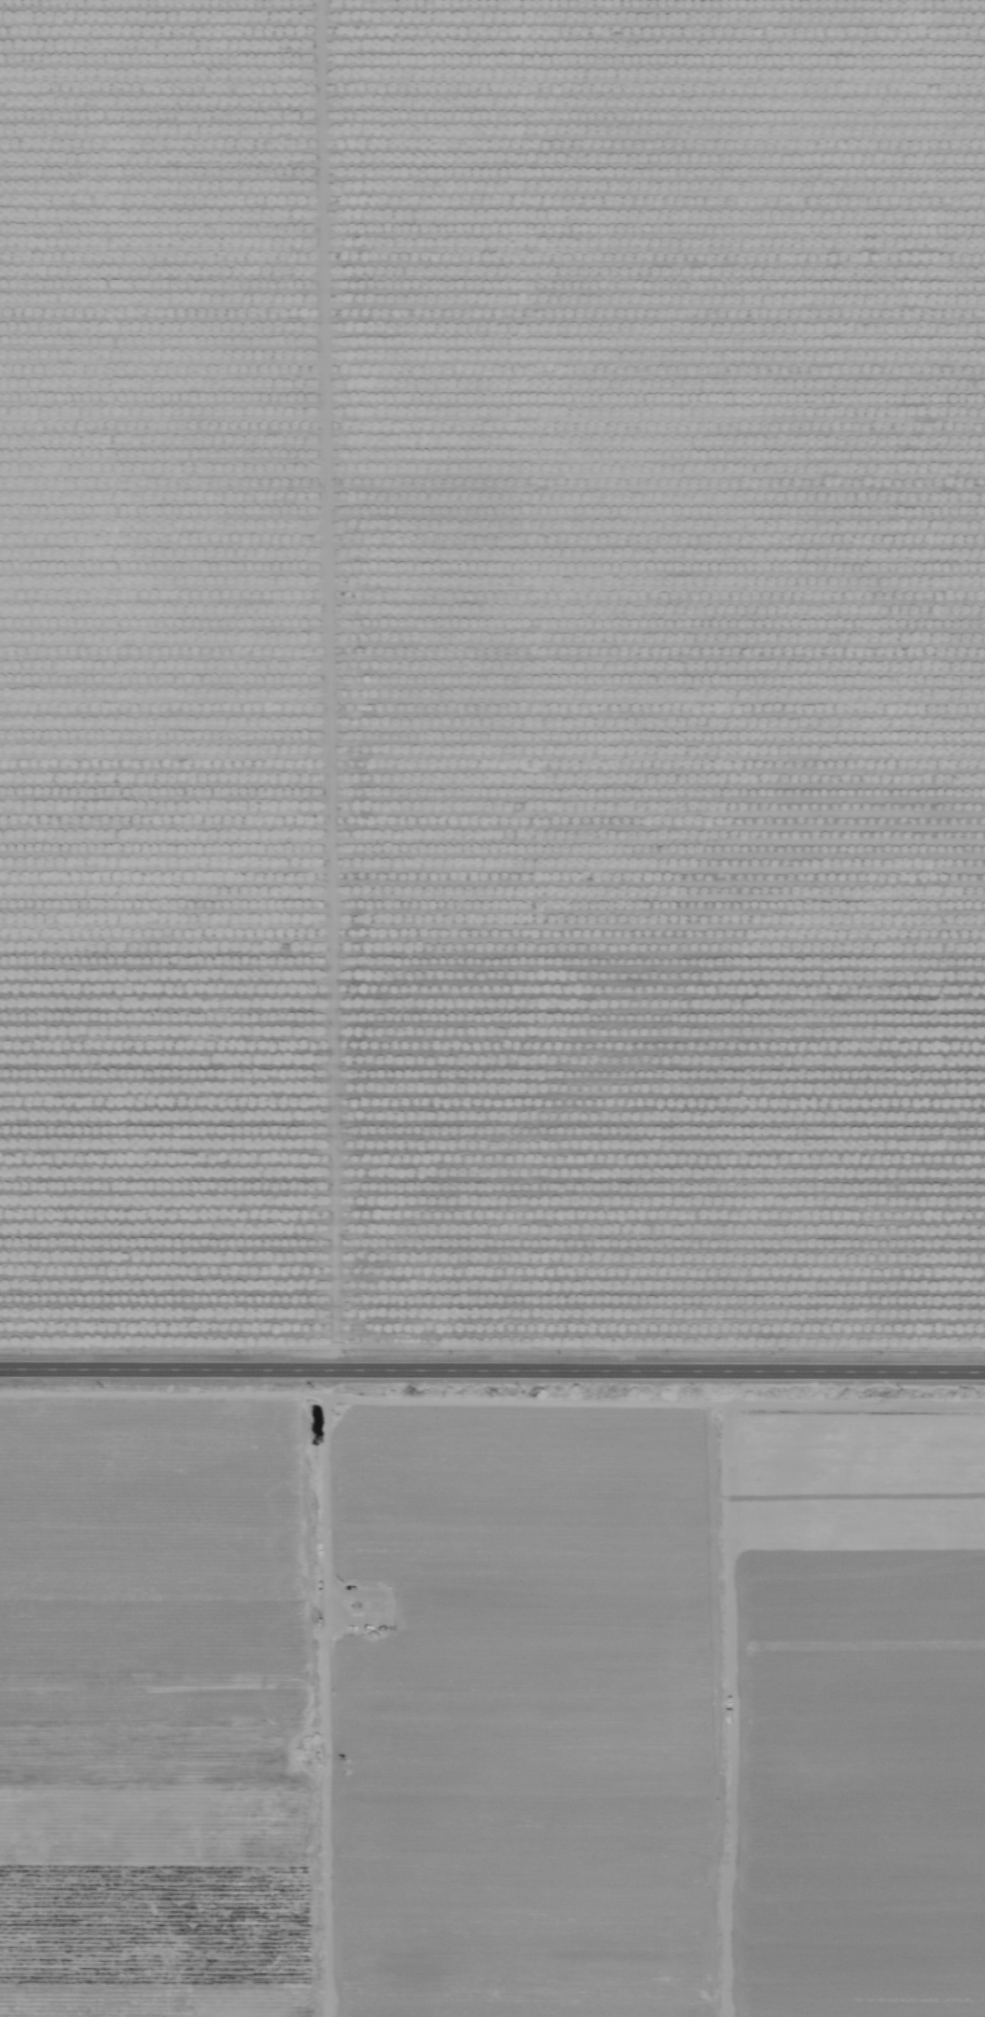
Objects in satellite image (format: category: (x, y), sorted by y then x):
road: (328, 1008)
road: (492, 1371)

